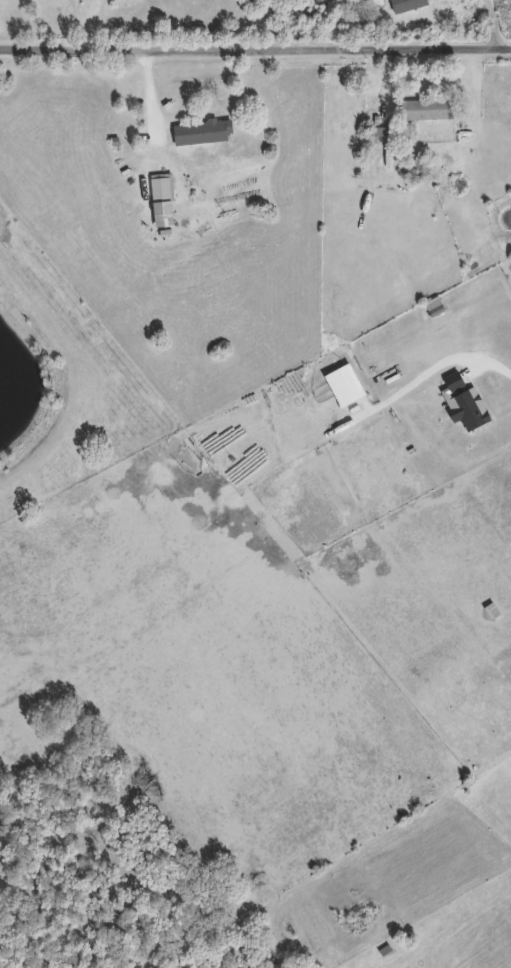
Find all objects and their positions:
road: (493, 24)
road: (255, 49)
building: (428, 107)
building: (203, 130)
building: (381, 133)
building: (411, 170)
building: (162, 186)
road: (489, 361)

